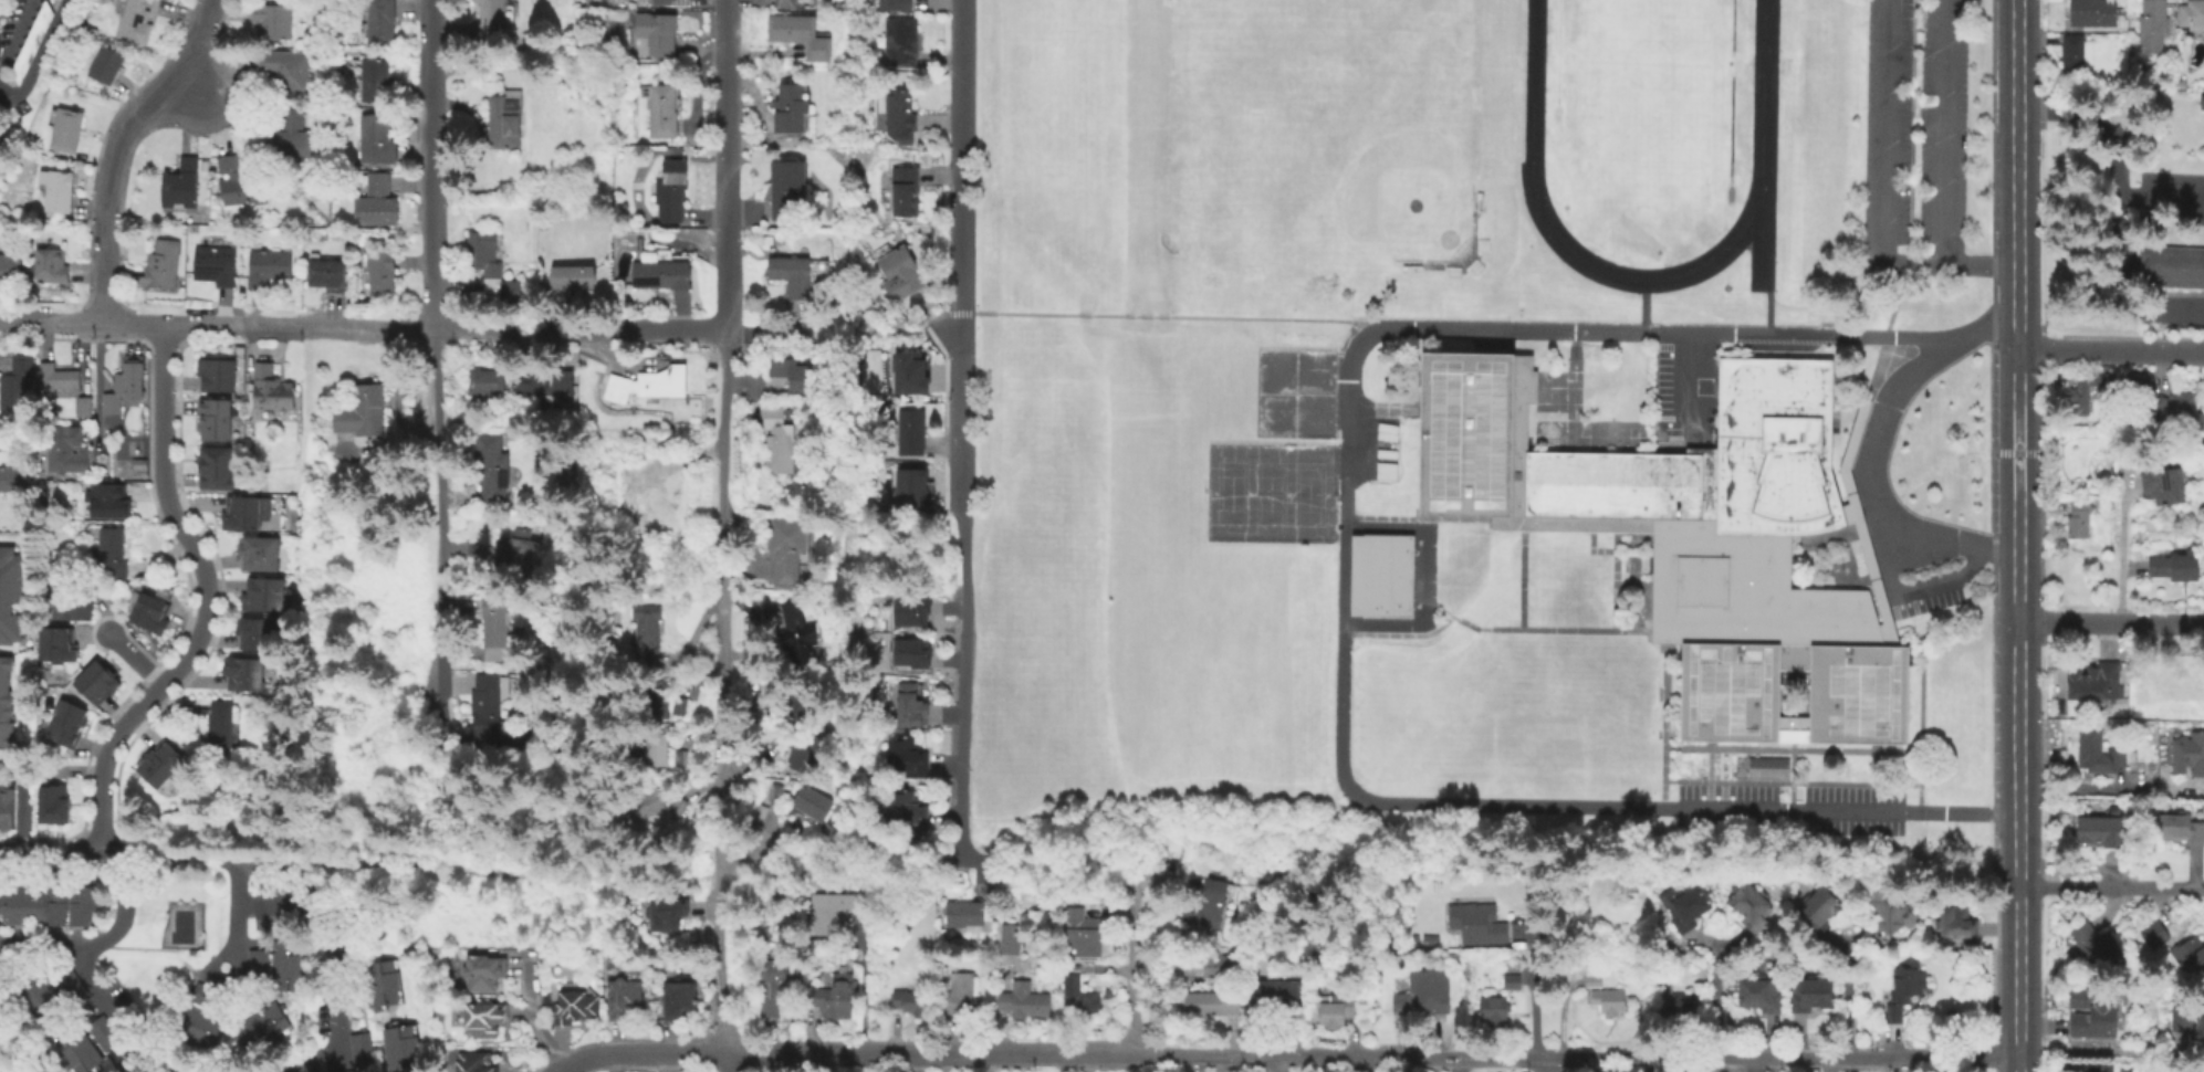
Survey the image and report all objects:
building: (53, 2)
building: (671, 2)
building: (787, 4)
building: (896, 6)
building: (491, 12)
building: (2093, 13)
building: (2193, 15)
building: (132, 19)
building: (270, 19)
building: (382, 23)
building: (2154, 27)
road: (14, 29)
building: (658, 34)
building: (801, 35)
building: (29, 39)
building: (901, 43)
building: (2077, 53)
road: (38, 54)
building: (104, 64)
building: (280, 70)
building: (376, 82)
building: (2182, 84)
road: (189, 88)
park: (1649, 102)
building: (791, 111)
building: (662, 112)
park: (1054, 117)
building: (901, 118)
building: (504, 119)
building: (63, 128)
track: (1646, 129)
park: (1313, 130)
road: (1940, 132)
building: (289, 135)
building: (377, 140)
road: (115, 145)
road: (962, 157)
road: (1878, 162)
road: (2014, 162)
building: (238, 181)
building: (178, 182)
building: (55, 188)
building: (786, 190)
building: (669, 192)
building: (906, 192)
road: (2161, 195)
building: (377, 203)
road: (2118, 206)
building: (237, 221)
track: (1758, 233)
building: (483, 255)
building: (159, 262)
building: (211, 263)
building: (48, 264)
road: (1976, 264)
building: (2173, 266)
building: (9, 267)
building: (269, 270)
building: (382, 274)
building: (327, 276)
building: (662, 276)
building: (898, 277)
building: (791, 278)
building: (572, 281)
building: (512, 292)
road: (729, 296)
road: (953, 314)
road: (969, 314)
road: (1040, 315)
road: (1108, 316)
road: (19, 319)
road: (933, 319)
road: (1272, 319)
road: (139, 322)
road: (335, 327)
road: (617, 332)
road: (1693, 335)
road: (2014, 337)
road: (2109, 350)
building: (907, 371)
road: (962, 371)
building: (213, 374)
road: (432, 375)
building: (793, 376)
building: (55, 377)
building: (13, 380)
road: (96, 380)
building: (123, 382)
building: (487, 386)
building: (649, 386)
road: (1690, 386)
building: (549, 387)
building: (272, 391)
park: (1296, 395)
building: (2083, 395)
building: (81, 404)
building: (2180, 410)
building: (364, 414)
building: (211, 417)
building: (792, 420)
building: (911, 435)
building: (781, 443)
building: (64, 449)
park: (1051, 453)
building: (137, 466)
building: (212, 467)
building: (493, 471)
building: (13, 477)
road: (1869, 479)
road: (2015, 484)
building: (2165, 488)
building: (915, 494)
park: (1271, 494)
building: (105, 500)
building: (644, 503)
building: (242, 512)
building: (2079, 521)
building: (1692, 537)
building: (525, 543)
building: (788, 549)
building: (255, 551)
road: (2120, 553)
building: (107, 554)
building: (2176, 569)
building: (1385, 578)
building: (10, 592)
road: (1911, 592)
building: (260, 593)
road: (207, 599)
building: (67, 603)
building: (147, 612)
building: (911, 618)
road: (2109, 621)
building: (499, 630)
building: (252, 632)
building: (649, 634)
building: (796, 637)
road: (961, 642)
building: (54, 643)
building: (913, 659)
road: (137, 661)
building: (240, 672)
building: (94, 680)
building: (2095, 683)
building: (2164, 684)
building: (657, 697)
building: (6, 703)
building: (795, 706)
building: (491, 707)
building: (911, 707)
building: (63, 722)
building: (218, 722)
building: (656, 752)
building: (805, 754)
building: (2103, 754)
building: (2189, 755)
building: (907, 759)
building: (682, 761)
building: (158, 764)
building: (1770, 769)
road: (2078, 789)
building: (777, 795)
road: (22, 796)
building: (51, 802)
building: (644, 805)
road: (1445, 805)
building: (6, 806)
building: (813, 806)
building: (678, 811)
building: (762, 813)
building: (908, 813)
road: (728, 823)
road: (1166, 827)
building: (2180, 829)
building: (2102, 833)
road: (2015, 845)
road: (1136, 849)
road: (571, 852)
road: (51, 853)
road: (111, 854)
road: (179, 858)
road: (393, 862)
road: (1009, 862)
building: (1628, 887)
road: (2110, 887)
building: (1210, 903)
building: (45, 906)
building: (1749, 906)
building: (940, 907)
building: (1688, 908)
building: (1821, 908)
building: (1891, 908)
building: (834, 910)
building: (667, 913)
building: (967, 914)
building: (1475, 922)
building: (1958, 923)
building: (1077, 933)
building: (2155, 936)
building: (1010, 938)
road: (97, 940)
road: (330, 945)
building: (2098, 945)
building: (1100, 946)
building: (2191, 954)
road: (1132, 961)
building: (254, 963)
building: (284, 963)
building: (378, 965)
building: (1213, 965)
road: (1545, 971)
building: (483, 976)
building: (380, 977)
building: (1513, 977)
building: (1595, 978)
building: (27, 982)
building: (69, 985)
building: (775, 985)
building: (382, 988)
building: (1905, 988)
building: (33, 992)
building: (1423, 994)
building: (1762, 994)
building: (1813, 994)
building: (959, 995)
building: (1275, 995)
building: (837, 997)
building: (1078, 998)
building: (383, 999)
building: (1024, 1000)
building: (1682, 1000)
building: (38, 1001)
building: (624, 1001)
building: (679, 1001)
road: (1851, 1001)
building: (912, 1002)
building: (1610, 1002)
road: (1717, 1002)
building: (1211, 1003)
building: (46, 1010)
building: (575, 1010)
building: (2093, 1011)
building: (1336, 1012)
building: (1496, 1013)
building: (2189, 1016)
road: (118, 1019)
building: (484, 1020)
building: (198, 1024)
building: (260, 1027)
building: (396, 1030)
building: (102, 1033)
building: (66, 1037)
building: (2144, 1037)
building: (398, 1042)
building: (72, 1047)
building: (361, 1048)
road: (2095, 1049)
building: (400, 1052)
road: (644, 1054)
building: (77, 1055)
road: (1370, 1055)
road: (725, 1062)
building: (86, 1063)
building: (403, 1063)
building: (474, 1063)
road: (1132, 1063)
building: (2086, 1068)
building: (2127, 1070)
building: (348, 1071)

